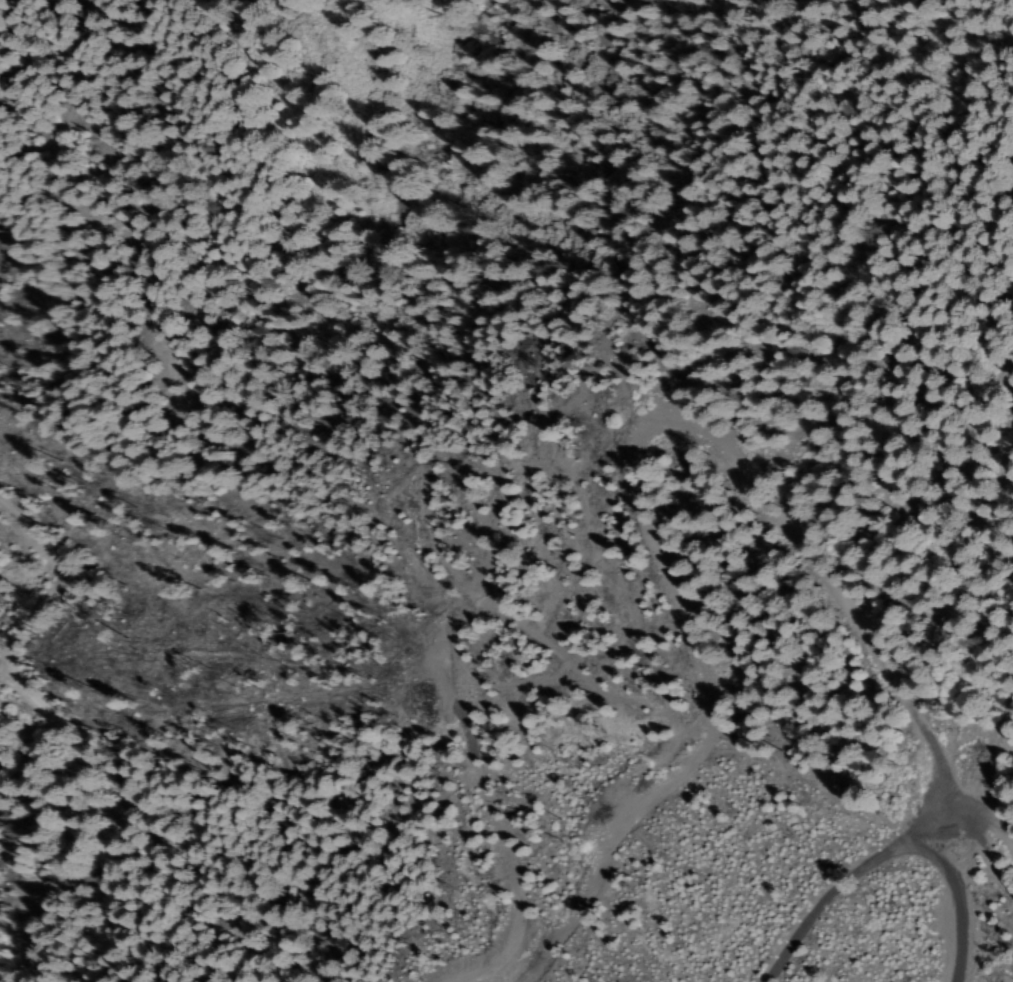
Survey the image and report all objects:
road: (991, 835)
road: (836, 855)

